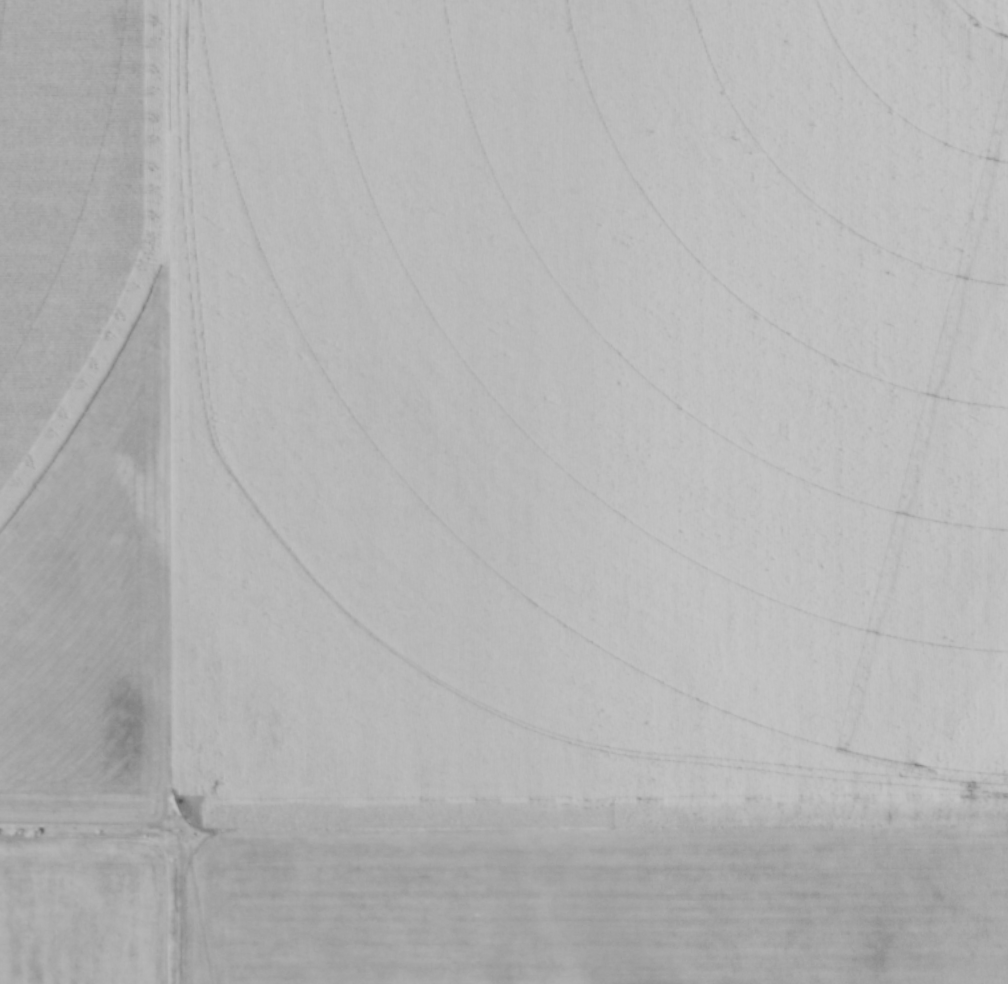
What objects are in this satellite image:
crop: (505, 490)

